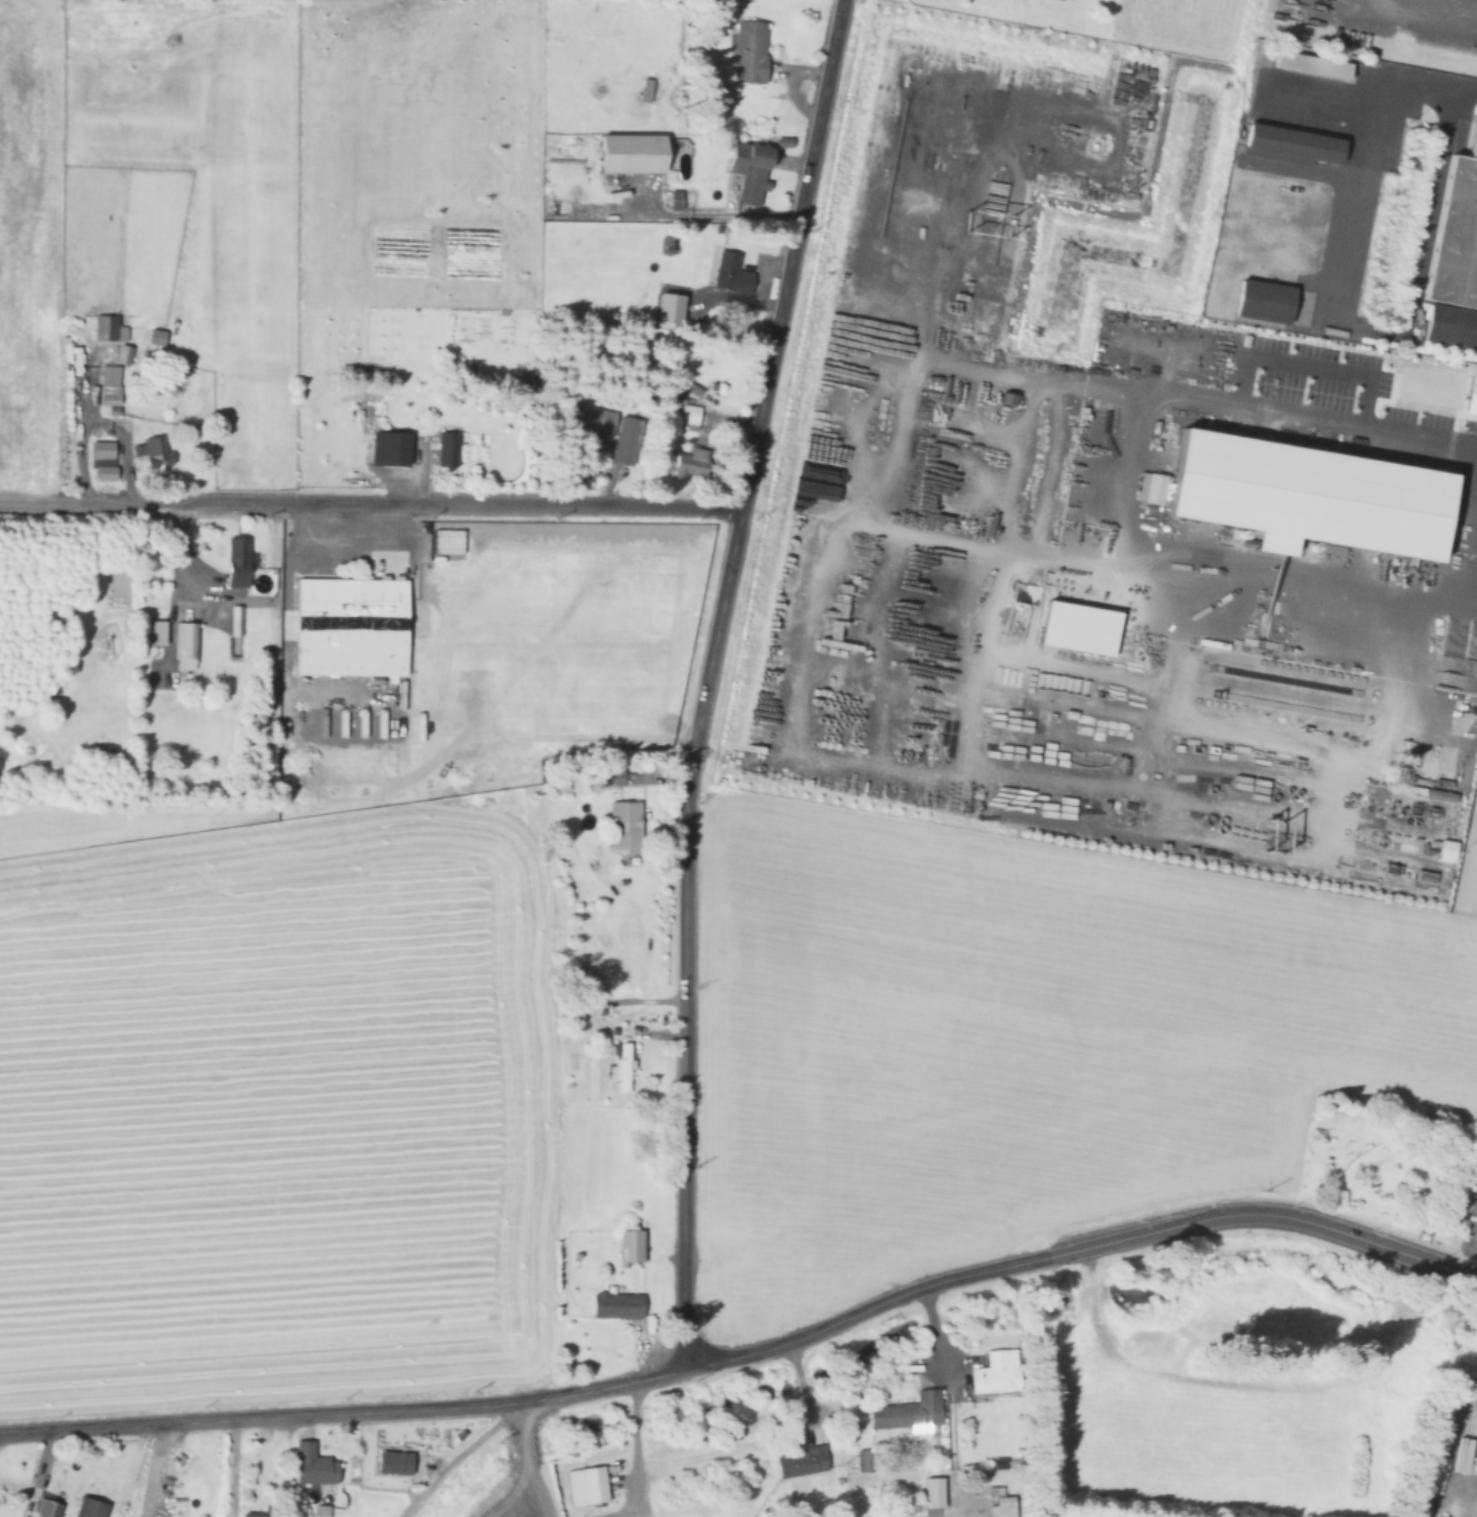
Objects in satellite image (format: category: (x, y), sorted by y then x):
building: (1058, 0)
building: (1063, 0)
railway: (1469, 5)
railway: (1450, 10)
railway: (1457, 10)
railway: (1420, 18)
building: (747, 51)
building: (1308, 64)
road: (1465, 87)
building: (1289, 141)
building: (626, 154)
building: (745, 170)
crop: (192, 196)
building: (671, 199)
building: (1454, 231)
building: (729, 272)
building: (559, 287)
building: (1259, 300)
road: (1331, 319)
building: (103, 328)
building: (153, 337)
building: (122, 353)
building: (108, 377)
building: (1471, 395)
building: (107, 400)
building: (687, 415)
building: (586, 418)
road: (1294, 421)
building: (623, 441)
building: (392, 450)
building: (444, 451)
building: (154, 454)
building: (101, 455)
building: (689, 462)
building: (104, 474)
road: (370, 504)
building: (1303, 506)
building: (235, 562)
road: (1220, 567)
building: (233, 619)
building: (149, 627)
building: (348, 628)
building: (1092, 634)
building: (184, 641)
road: (705, 678)
building: (609, 778)
building: (622, 826)
crop: (241, 1017)
building: (622, 1065)
road: (1082, 1080)
road: (1412, 1132)
park: (1390, 1165)
road: (1015, 1167)
road: (1258, 1211)
building: (1473, 1217)
building: (628, 1247)
building: (768, 1248)
building: (732, 1289)
building: (616, 1305)
road: (934, 1326)
building: (994, 1371)
road: (527, 1400)
building: (905, 1410)
road: (528, 1439)
road: (255, 1444)
road: (456, 1453)
road: (627, 1453)
building: (396, 1462)
building: (798, 1462)
building: (998, 1462)
building: (310, 1464)
road: (231, 1467)
road: (154, 1469)
building: (583, 1484)
road: (512, 1497)
road: (541, 1497)
building: (44, 1508)
building: (86, 1508)
building: (1000, 1508)
building: (5, 1510)
building: (320, 1510)
building: (299, 1511)
building: (249, 1515)

